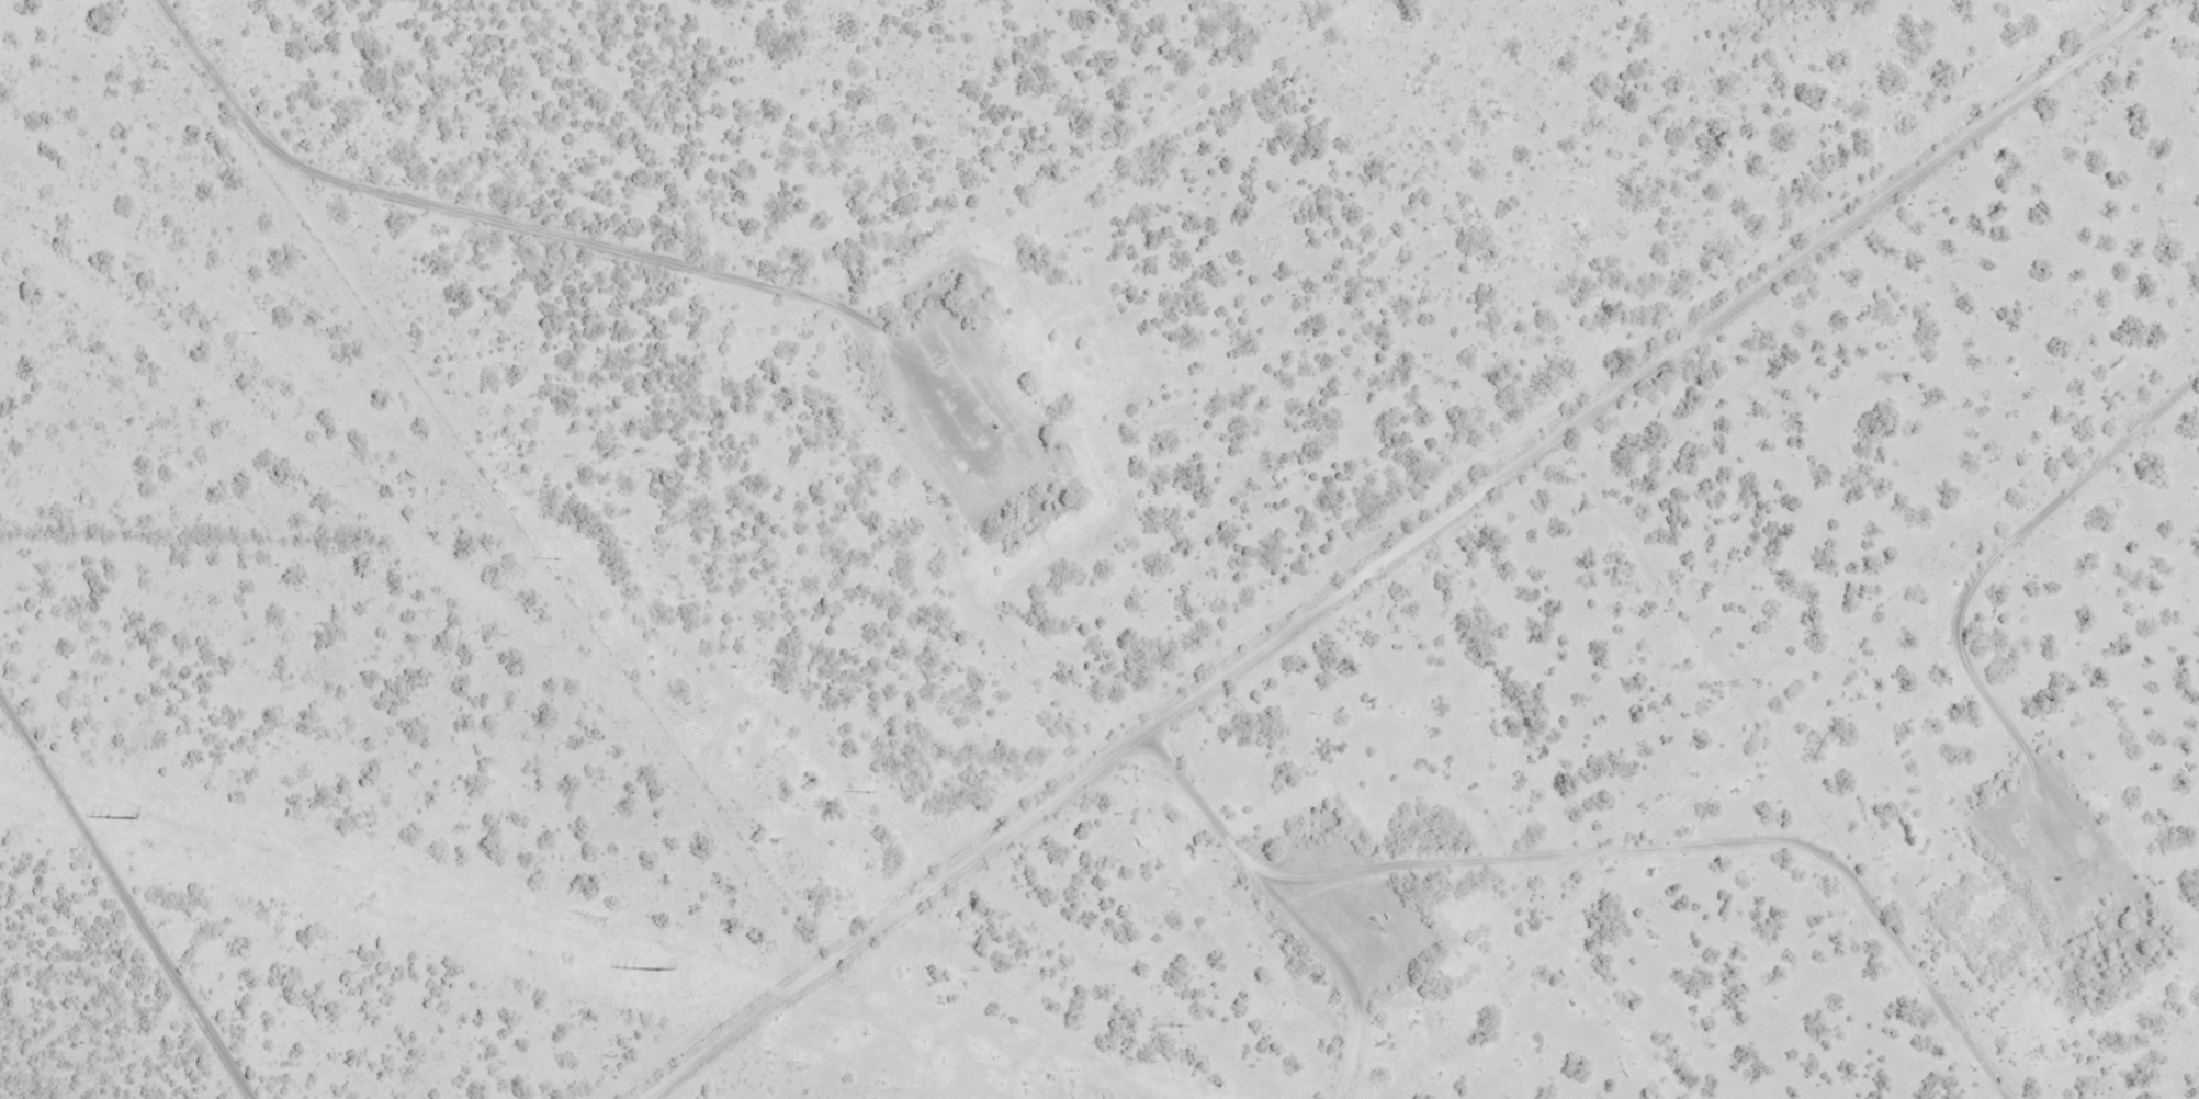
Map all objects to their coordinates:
power tower: (250, 332)
road: (1385, 549)
power tower: (552, 557)
power tower: (864, 791)
power tower: (132, 818)
power tower: (658, 970)
power tower: (1175, 1024)

